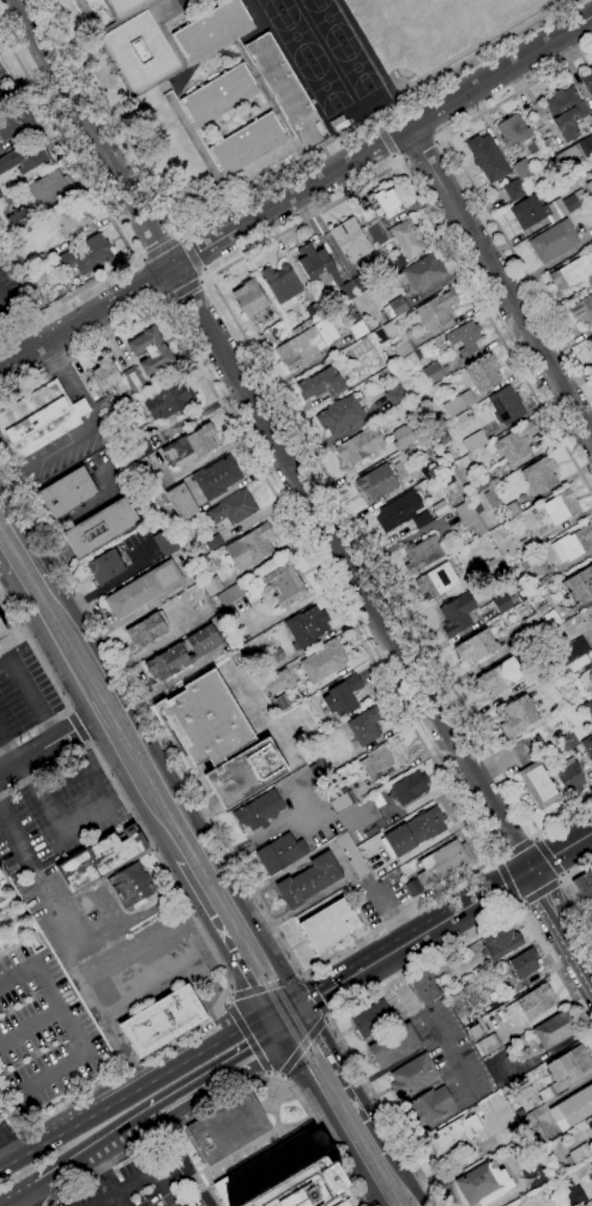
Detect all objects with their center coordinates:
park: (302, 0)
park: (274, 6)
park: (328, 22)
park: (433, 24)
park: (296, 36)
building: (138, 41)
building: (247, 59)
park: (357, 68)
building: (587, 80)
park: (326, 86)
road: (513, 94)
building: (566, 112)
building: (14, 120)
building: (194, 120)
road: (375, 120)
building: (518, 133)
road: (386, 138)
building: (585, 146)
road: (419, 149)
building: (1, 150)
building: (26, 156)
road: (395, 157)
building: (488, 157)
building: (522, 169)
road: (258, 186)
building: (588, 186)
building: (50, 187)
building: (514, 190)
building: (0, 194)
road: (296, 194)
building: (387, 202)
building: (546, 209)
road: (109, 211)
building: (19, 218)
building: (72, 221)
building: (374, 226)
road: (177, 236)
road: (182, 236)
building: (350, 239)
building: (407, 239)
building: (555, 240)
road: (161, 248)
building: (87, 254)
road: (192, 254)
building: (17, 256)
road: (141, 257)
building: (38, 260)
road: (518, 262)
building: (394, 263)
building: (322, 269)
road: (205, 272)
building: (572, 272)
building: (419, 274)
road: (205, 280)
building: (282, 282)
road: (500, 283)
building: (360, 284)
road: (183, 289)
building: (250, 298)
road: (167, 304)
building: (395, 307)
building: (436, 310)
building: (582, 310)
building: (315, 312)
building: (357, 317)
road: (16, 324)
building: (358, 329)
road: (494, 329)
building: (379, 336)
building: (465, 337)
building: (590, 341)
building: (307, 343)
building: (404, 349)
building: (151, 350)
building: (424, 352)
building: (105, 373)
building: (433, 373)
building: (484, 373)
building: (134, 380)
road: (75, 382)
building: (320, 383)
building: (395, 396)
building: (169, 400)
building: (459, 403)
building: (507, 406)
building: (340, 414)
building: (40, 419)
road: (272, 434)
building: (403, 436)
building: (475, 440)
building: (515, 443)
building: (191, 446)
building: (360, 446)
building: (137, 451)
road: (47, 454)
road: (315, 456)
building: (119, 461)
building: (428, 468)
building: (540, 474)
building: (217, 476)
building: (150, 479)
building: (481, 481)
building: (377, 482)
building: (68, 492)
building: (491, 498)
building: (182, 502)
building: (561, 508)
building: (232, 509)
building: (478, 509)
building: (513, 510)
building: (398, 511)
building: (470, 516)
road: (70, 517)
building: (422, 520)
building: (101, 528)
building: (165, 542)
building: (213, 542)
building: (528, 544)
building: (573, 544)
building: (250, 547)
building: (422, 554)
building: (531, 559)
building: (105, 566)
building: (487, 568)
building: (437, 580)
building: (285, 584)
building: (212, 586)
building: (580, 586)
road: (12, 587)
building: (143, 589)
building: (230, 595)
building: (521, 596)
building: (502, 604)
building: (457, 613)
building: (532, 624)
building: (307, 626)
building: (146, 630)
building: (1, 631)
building: (476, 647)
building: (579, 647)
building: (567, 653)
building: (182, 654)
building: (277, 655)
building: (324, 661)
building: (578, 664)
building: (495, 680)
building: (274, 683)
road: (56, 686)
road: (31, 695)
building: (343, 696)
building: (280, 703)
building: (588, 707)
building: (518, 715)
building: (206, 720)
road: (78, 726)
building: (364, 726)
road: (98, 736)
road: (1, 739)
building: (568, 740)
road: (155, 746)
building: (587, 746)
road: (44, 749)
building: (518, 752)
road: (11, 755)
building: (383, 758)
railway: (147, 767)
building: (319, 767)
railway: (140, 770)
building: (246, 773)
building: (569, 776)
building: (537, 785)
building: (410, 787)
building: (342, 799)
building: (377, 799)
building: (259, 810)
road: (564, 816)
building: (415, 830)
road: (536, 835)
road: (16, 838)
road: (514, 850)
road: (561, 852)
building: (280, 853)
building: (351, 854)
road: (484, 854)
road: (546, 856)
building: (99, 858)
road: (493, 860)
building: (441, 865)
road: (563, 876)
building: (0, 877)
building: (308, 881)
road: (506, 881)
road: (562, 881)
building: (131, 886)
building: (584, 886)
road: (572, 888)
road: (542, 893)
road: (54, 916)
road: (561, 922)
building: (330, 925)
road: (216, 937)
road: (417, 937)
building: (501, 941)
road: (210, 944)
building: (525, 962)
road: (554, 965)
road: (157, 970)
road: (16, 972)
building: (424, 986)
road: (264, 988)
road: (314, 998)
building: (531, 1004)
road: (283, 1006)
traffic signals: (304, 1006)
road: (59, 1007)
traffic signals: (262, 1012)
road: (332, 1015)
building: (373, 1019)
road: (108, 1021)
building: (162, 1021)
road: (29, 1024)
road: (292, 1024)
road: (430, 1025)
road: (272, 1026)
building: (554, 1030)
building: (475, 1031)
road: (213, 1037)
road: (247, 1039)
traffic signals: (282, 1042)
building: (489, 1044)
building: (394, 1045)
road: (303, 1050)
building: (570, 1063)
road: (50, 1073)
building: (412, 1075)
road: (223, 1078)
road: (348, 1079)
building: (546, 1093)
road: (226, 1094)
railway: (339, 1106)
building: (429, 1106)
building: (573, 1108)
road: (85, 1111)
railway: (352, 1111)
building: (591, 1118)
road: (334, 1122)
road: (12, 1126)
building: (229, 1128)
building: (533, 1129)
road: (6, 1132)
building: (453, 1140)
road: (107, 1148)
road: (2, 1153)
building: (580, 1153)
road: (2, 1160)
road: (185, 1162)
road: (105, 1176)
road: (145, 1178)
building: (284, 1178)
road: (409, 1178)
parking lot: (144, 1181)
building: (483, 1183)
building: (572, 1193)
road: (34, 1194)
road: (119, 1201)
road: (16, 1205)
road: (17, 1205)

